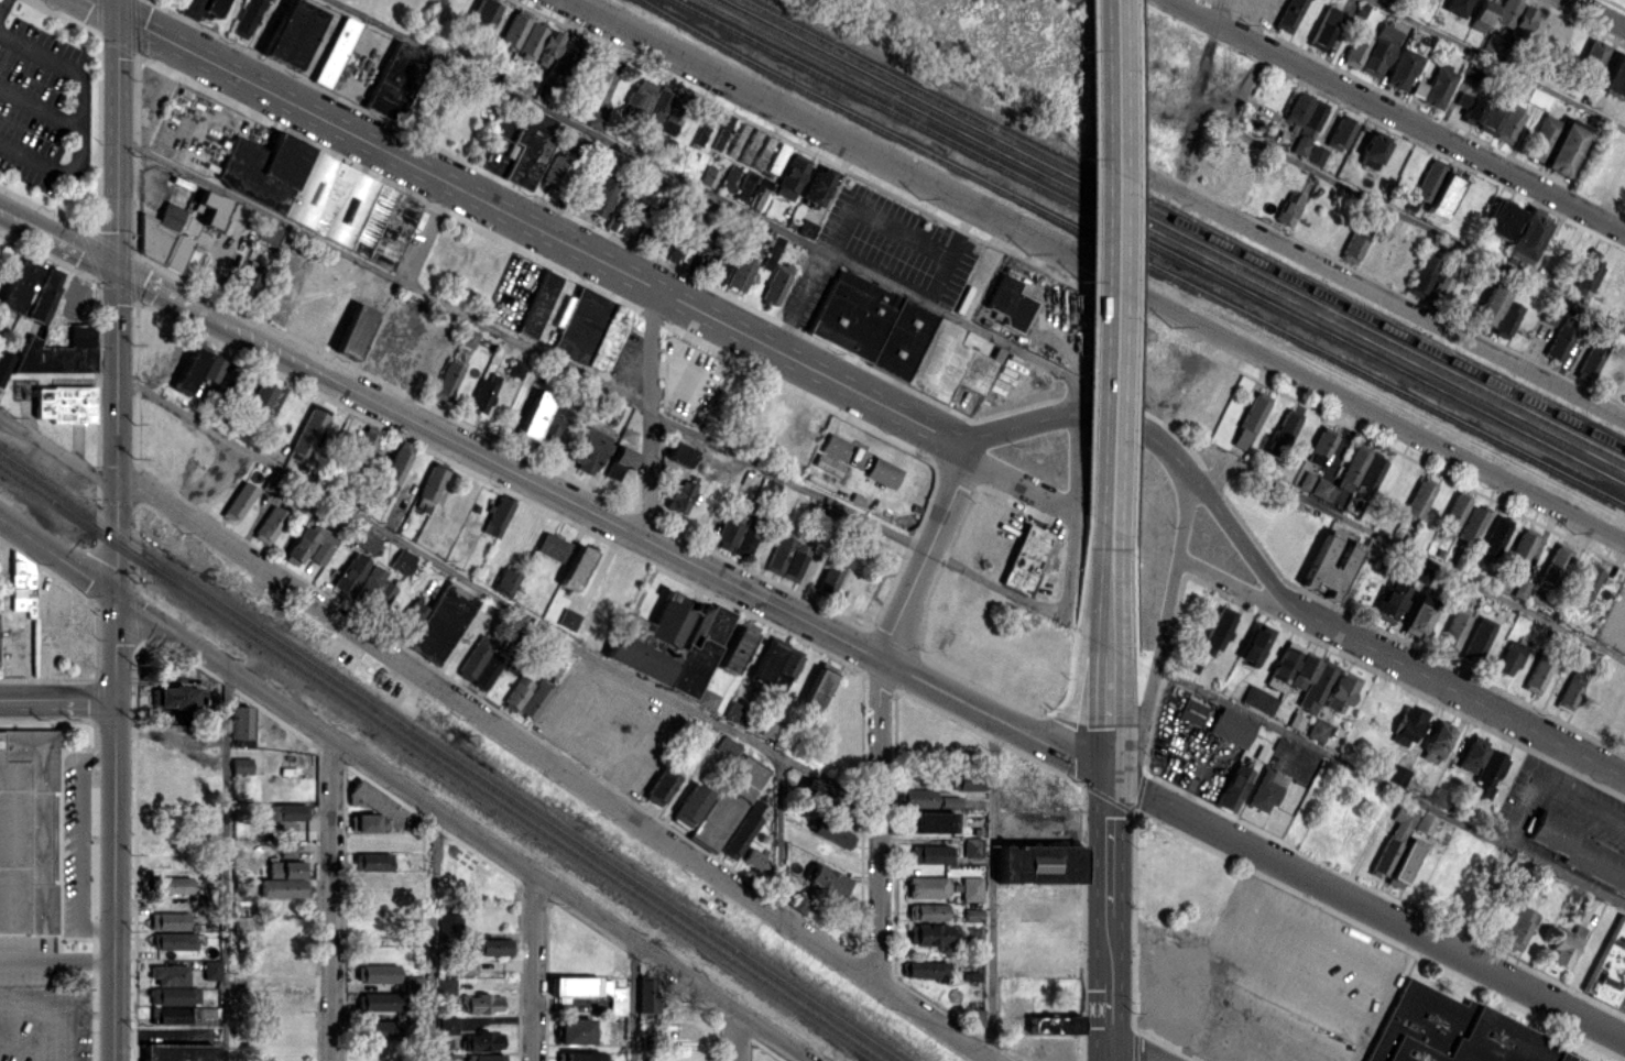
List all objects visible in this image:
road: (1, 3)
building: (1455, 7)
building: (201, 8)
building: (1505, 12)
traffic signals: (119, 13)
road: (1597, 13)
building: (1288, 14)
building: (482, 15)
building: (1482, 15)
building: (247, 18)
building: (1523, 18)
building: (1323, 28)
building: (513, 30)
building: (293, 32)
building: (547, 48)
building: (1354, 51)
building: (335, 52)
building: (1375, 55)
building: (1590, 58)
road: (1495, 65)
building: (1400, 68)
building: (596, 75)
building: (1614, 76)
building: (396, 79)
building: (1433, 86)
building: (640, 95)
road: (1199, 95)
building: (1537, 98)
road: (40, 106)
building: (656, 107)
building: (1296, 107)
building: (1469, 107)
road: (1397, 114)
road: (80, 118)
building: (597, 119)
building: (1487, 119)
building: (1506, 124)
building: (1308, 125)
building: (723, 132)
building: (1340, 133)
building: (1540, 138)
building: (735, 139)
building: (749, 145)
building: (531, 146)
building: (1564, 146)
building: (1373, 150)
building: (762, 152)
building: (1315, 154)
building: (556, 173)
building: (767, 175)
building: (708, 176)
building: (790, 176)
building: (728, 177)
building: (1426, 182)
building: (818, 184)
building: (743, 185)
road: (706, 188)
building: (319, 195)
building: (599, 196)
building: (1442, 196)
building: (209, 207)
building: (1287, 208)
road: (1388, 209)
building: (636, 215)
road: (18, 219)
building: (1501, 219)
road: (532, 225)
railway: (1182, 226)
building: (806, 228)
railway: (1170, 231)
building: (269, 232)
road: (897, 232)
railway: (1159, 237)
building: (1526, 237)
railway: (1147, 242)
building: (1352, 247)
road: (77, 249)
building: (772, 252)
railway: (1131, 254)
building: (704, 261)
traffic signals: (118, 269)
road: (1097, 271)
building: (249, 273)
building: (740, 273)
building: (1421, 275)
building: (1586, 277)
building: (776, 283)
building: (17, 285)
building: (1437, 288)
building: (45, 294)
road: (170, 295)
road: (1384, 296)
road: (797, 297)
building: (1008, 302)
building: (538, 304)
building: (1490, 305)
road: (1109, 311)
building: (1550, 315)
building: (1505, 318)
building: (592, 329)
building: (353, 330)
building: (897, 336)
building: (467, 337)
building: (391, 342)
building: (1558, 342)
road: (117, 349)
building: (59, 352)
building: (1588, 362)
building: (4, 364)
building: (515, 368)
building: (215, 369)
building: (189, 370)
building: (228, 376)
road: (1179, 378)
building: (447, 379)
road: (590, 379)
building: (483, 392)
road: (1076, 394)
building: (261, 396)
building: (65, 404)
road: (648, 411)
building: (533, 414)
building: (1250, 419)
building: (1284, 427)
building: (548, 430)
building: (307, 435)
building: (363, 444)
building: (835, 446)
building: (1319, 446)
building: (588, 448)
road: (58, 450)
building: (679, 452)
building: (619, 461)
traffic signals: (117, 470)
building: (393, 470)
building: (882, 472)
building: (1368, 474)
building: (1341, 478)
building: (1305, 479)
road: (1019, 483)
building: (429, 488)
building: (678, 496)
building: (1419, 497)
building: (239, 500)
road: (1069, 513)
building: (1452, 514)
building: (498, 516)
building: (269, 524)
building: (1470, 524)
building: (1496, 532)
building: (737, 536)
building: (367, 544)
building: (299, 546)
building: (553, 546)
road: (666, 546)
building: (1370, 549)
building: (1520, 549)
building: (320, 551)
road: (1413, 551)
road: (925, 554)
building: (1321, 554)
road: (58, 557)
building: (786, 557)
building: (1025, 558)
building: (402, 561)
building: (1553, 567)
building: (575, 568)
building: (349, 573)
building: (832, 576)
building: (504, 581)
road: (1235, 581)
building: (22, 584)
building: (1584, 587)
road: (1275, 588)
building: (1520, 588)
building: (374, 589)
traffic signals: (117, 597)
road: (493, 597)
building: (1388, 601)
road: (1165, 615)
building: (1417, 615)
building: (436, 621)
building: (1453, 626)
building: (1215, 631)
building: (1476, 639)
building: (1254, 643)
building: (670, 645)
building: (737, 646)
building: (475, 656)
building: (1509, 656)
building: (770, 659)
building: (788, 664)
building: (1283, 665)
building: (487, 671)
building: (1301, 671)
building: (1537, 675)
building: (1316, 686)
building: (818, 687)
building: (1569, 690)
building: (1340, 691)
building: (516, 693)
building: (175, 696)
building: (1255, 698)
building: (535, 699)
road: (57, 700)
building: (709, 700)
building: (732, 710)
building: (1191, 711)
building: (1295, 721)
building: (240, 724)
building: (1406, 724)
building: (1230, 726)
building: (771, 729)
building: (1317, 729)
building: (1437, 737)
building: (728, 746)
building: (1471, 753)
railway: (451, 756)
railway: (443, 762)
building: (241, 765)
road: (554, 765)
building: (1279, 772)
building: (1487, 773)
building: (1396, 775)
traffic signals: (1109, 776)
building: (964, 780)
road: (1389, 785)
building: (1232, 787)
building: (658, 789)
building: (918, 797)
road: (1525, 797)
road: (1575, 799)
building: (729, 801)
building: (949, 801)
building: (690, 805)
building: (369, 808)
building: (282, 810)
road: (879, 818)
building: (934, 821)
building: (1424, 822)
road: (462, 828)
building: (742, 830)
building: (26, 832)
building: (830, 832)
road: (779, 835)
building: (1393, 839)
road: (77, 842)
road: (1108, 842)
building: (972, 846)
building: (287, 850)
building: (1578, 850)
building: (935, 853)
building: (372, 861)
building: (756, 861)
building: (1403, 862)
building: (1037, 863)
road: (226, 864)
building: (826, 878)
building: (282, 879)
road: (116, 880)
building: (174, 884)
building: (927, 886)
road: (990, 886)
building: (971, 888)
road: (330, 900)
building: (799, 904)
road: (1366, 908)
building: (928, 911)
building: (973, 915)
building: (1504, 916)
building: (168, 920)
building: (449, 925)
building: (1519, 928)
building: (928, 933)
road: (434, 934)
building: (174, 940)
flagpole: (66, 945)
building: (490, 945)
building: (1564, 945)
road: (1338, 949)
road: (57, 959)
road: (1225, 962)
building: (467, 966)
building: (1608, 966)
road: (533, 967)
building: (211, 969)
building: (926, 969)
building: (378, 973)
building: (168, 974)
building: (414, 982)
building: (445, 985)
building: (591, 989)
building: (1169, 989)
building: (174, 995)
building: (646, 995)
building: (377, 1000)
road: (633, 1002)
building: (483, 1003)
road: (31, 1005)
building: (200, 1011)
building: (172, 1015)
building: (448, 1024)
building: (1053, 1024)
road: (1241, 1028)
building: (379, 1029)
building: (1450, 1030)
road: (68, 1031)
building: (575, 1031)
road: (170, 1036)
road: (737, 1037)
building: (482, 1040)
road: (1136, 1046)
building: (177, 1052)
building: (580, 1055)
building: (486, 1057)
building: (1558, 1058)

